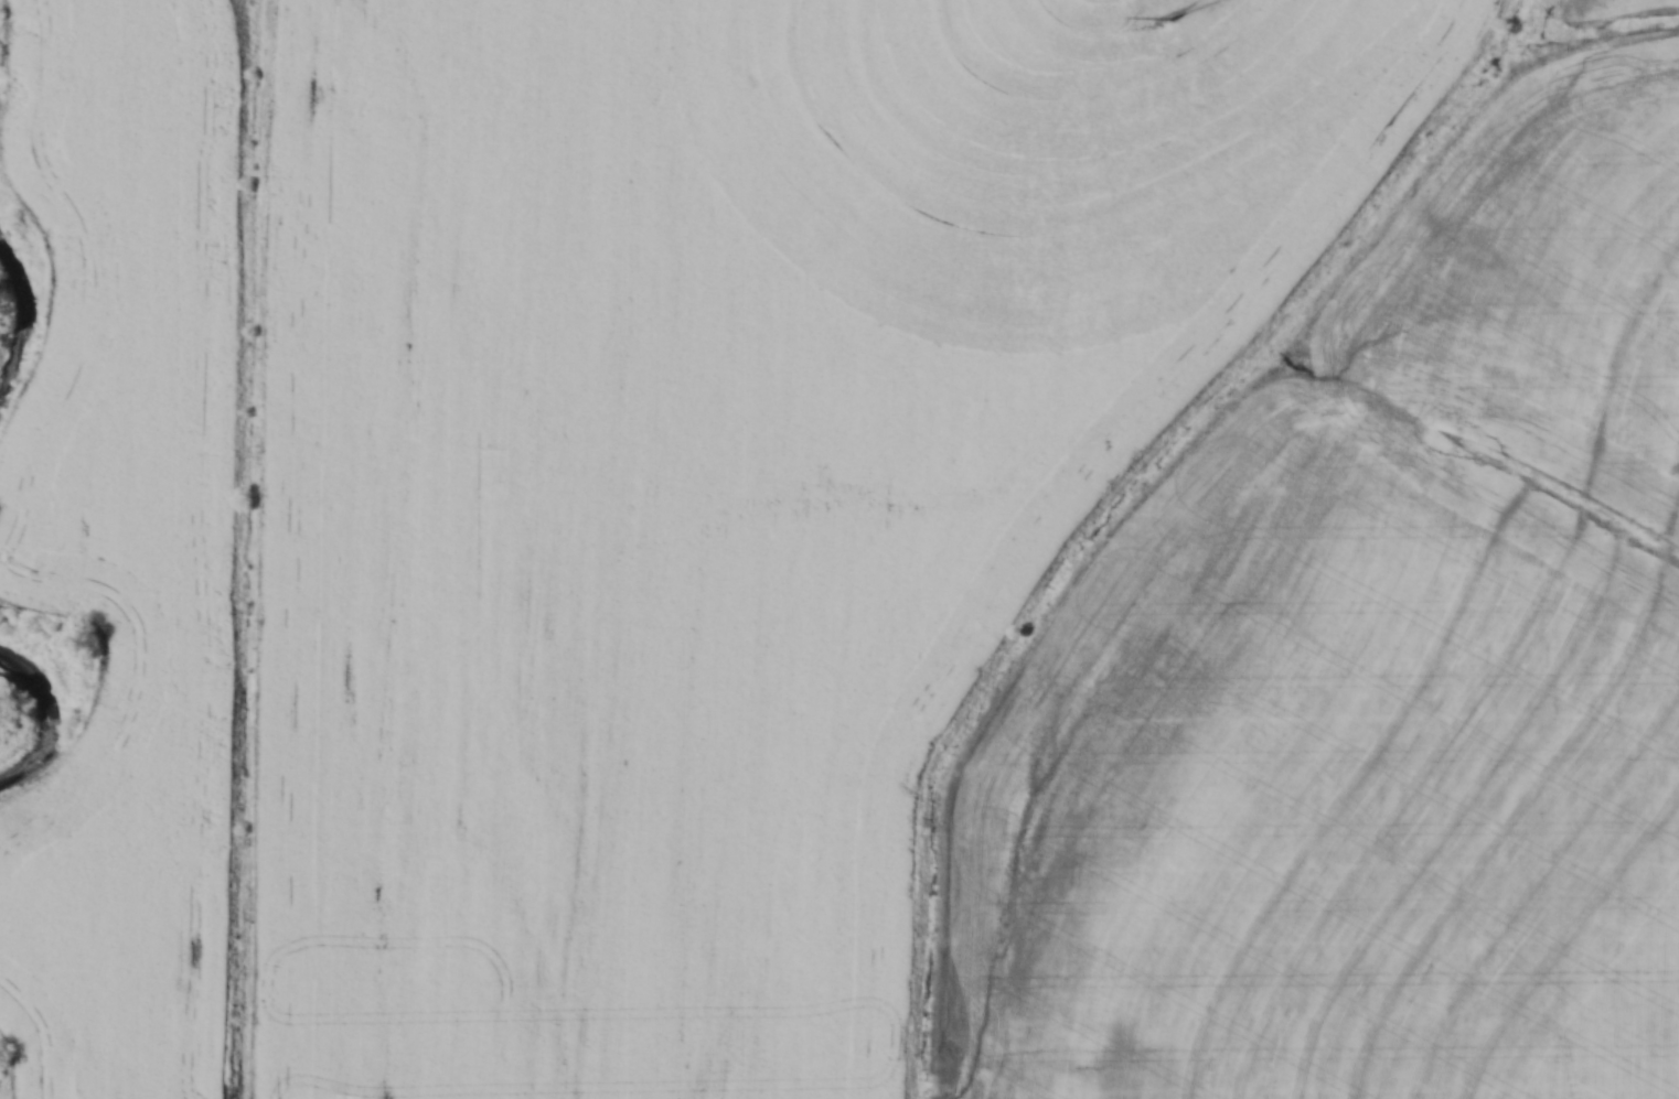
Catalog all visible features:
power tower: (1169, 15)

